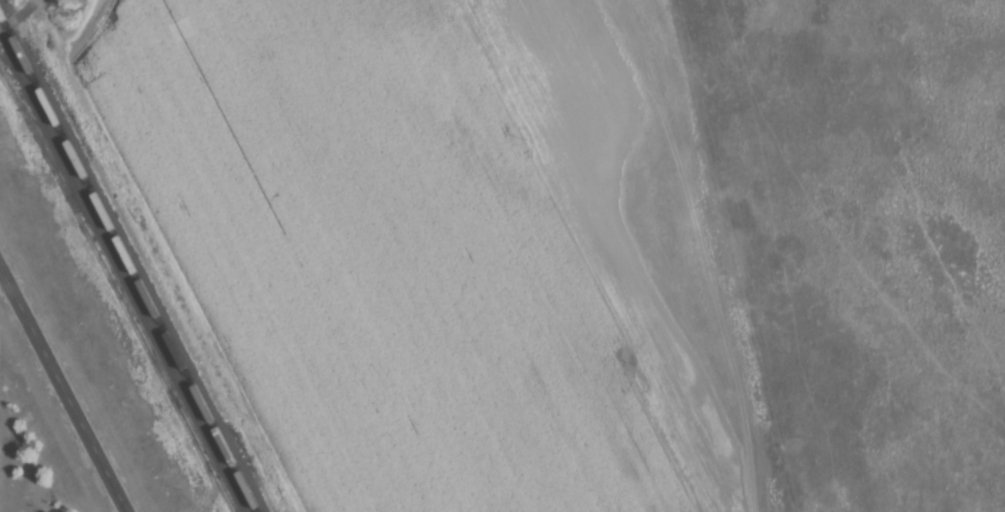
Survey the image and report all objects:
road: (19, 16)
crop: (425, 247)
railway: (130, 261)
railway: (124, 270)
building: (257, 382)
road: (64, 389)
building: (304, 470)

